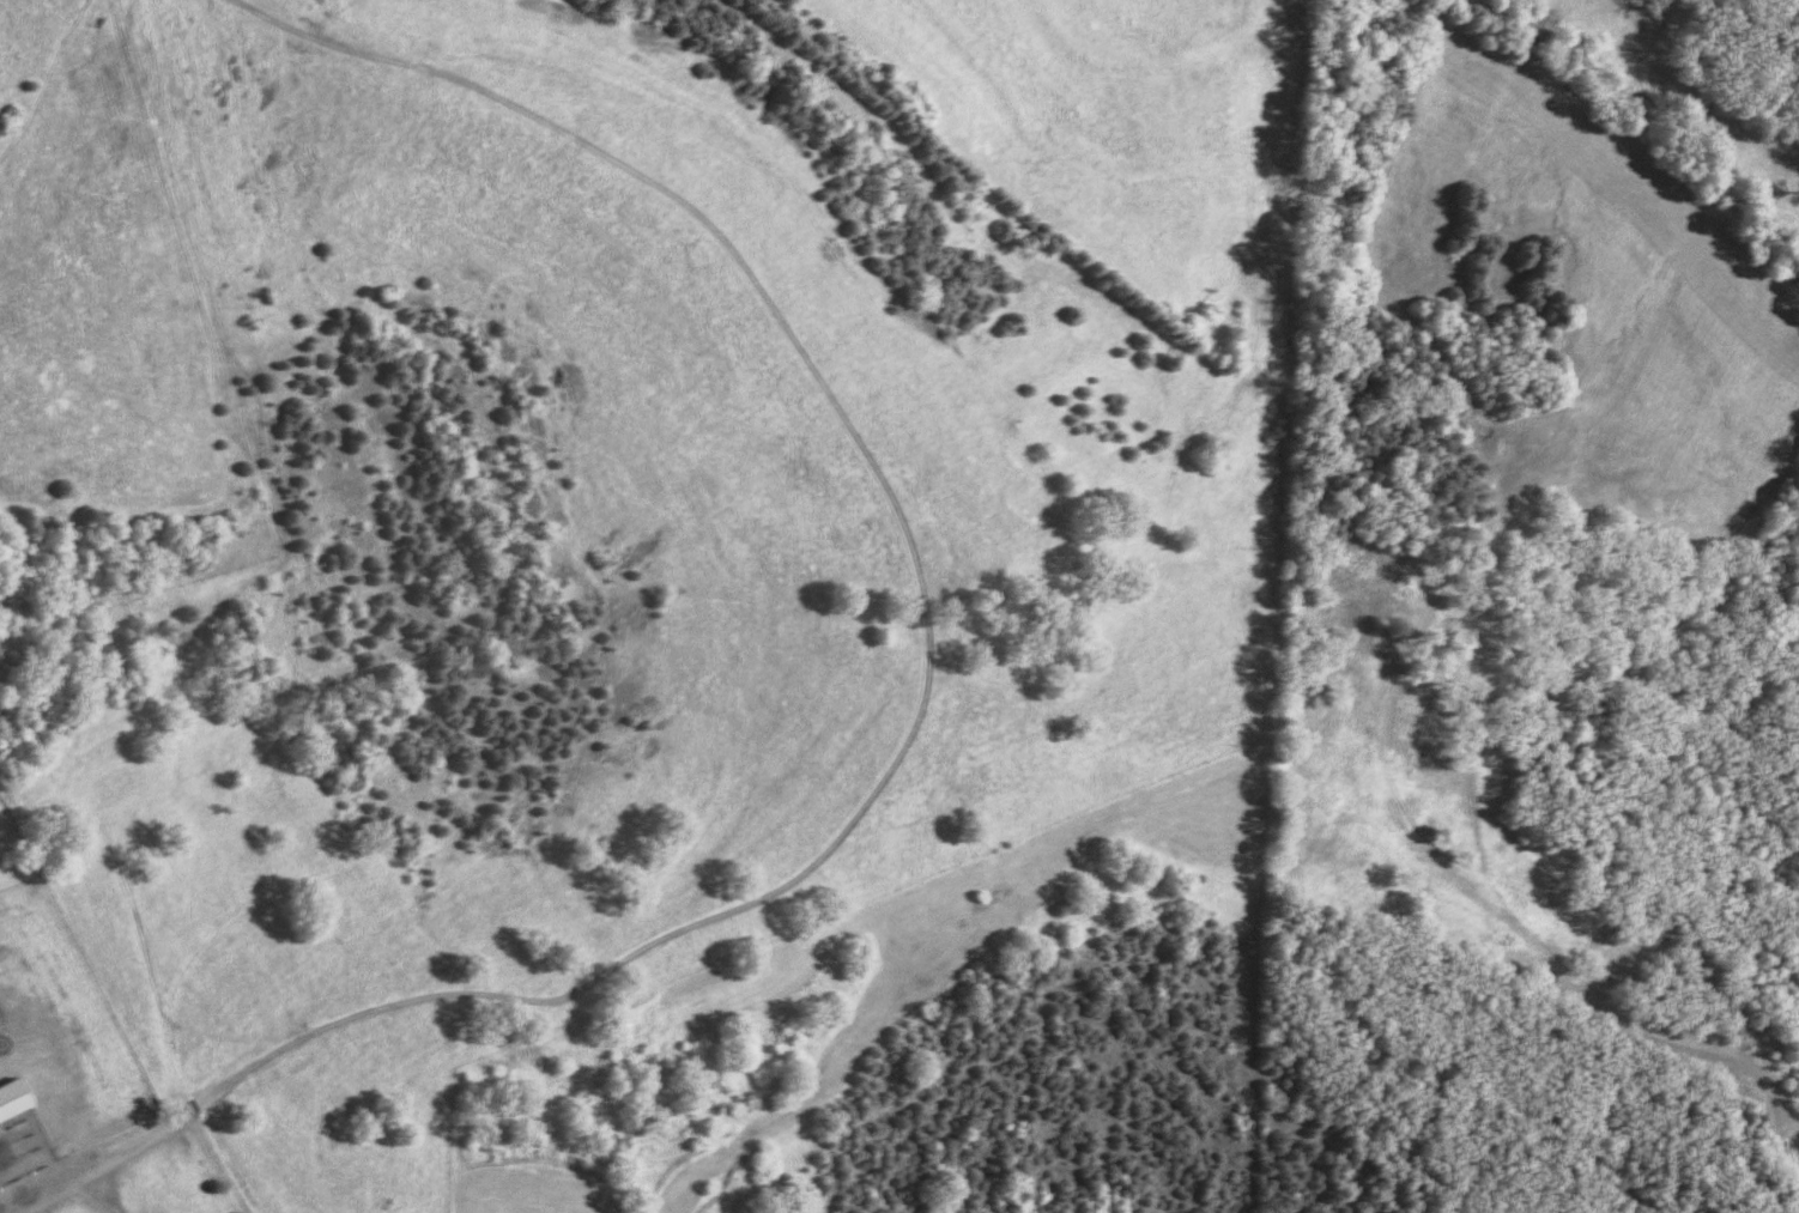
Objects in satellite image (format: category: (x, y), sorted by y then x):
road: (926, 710)
road: (139, 932)
building: (11, 1100)

